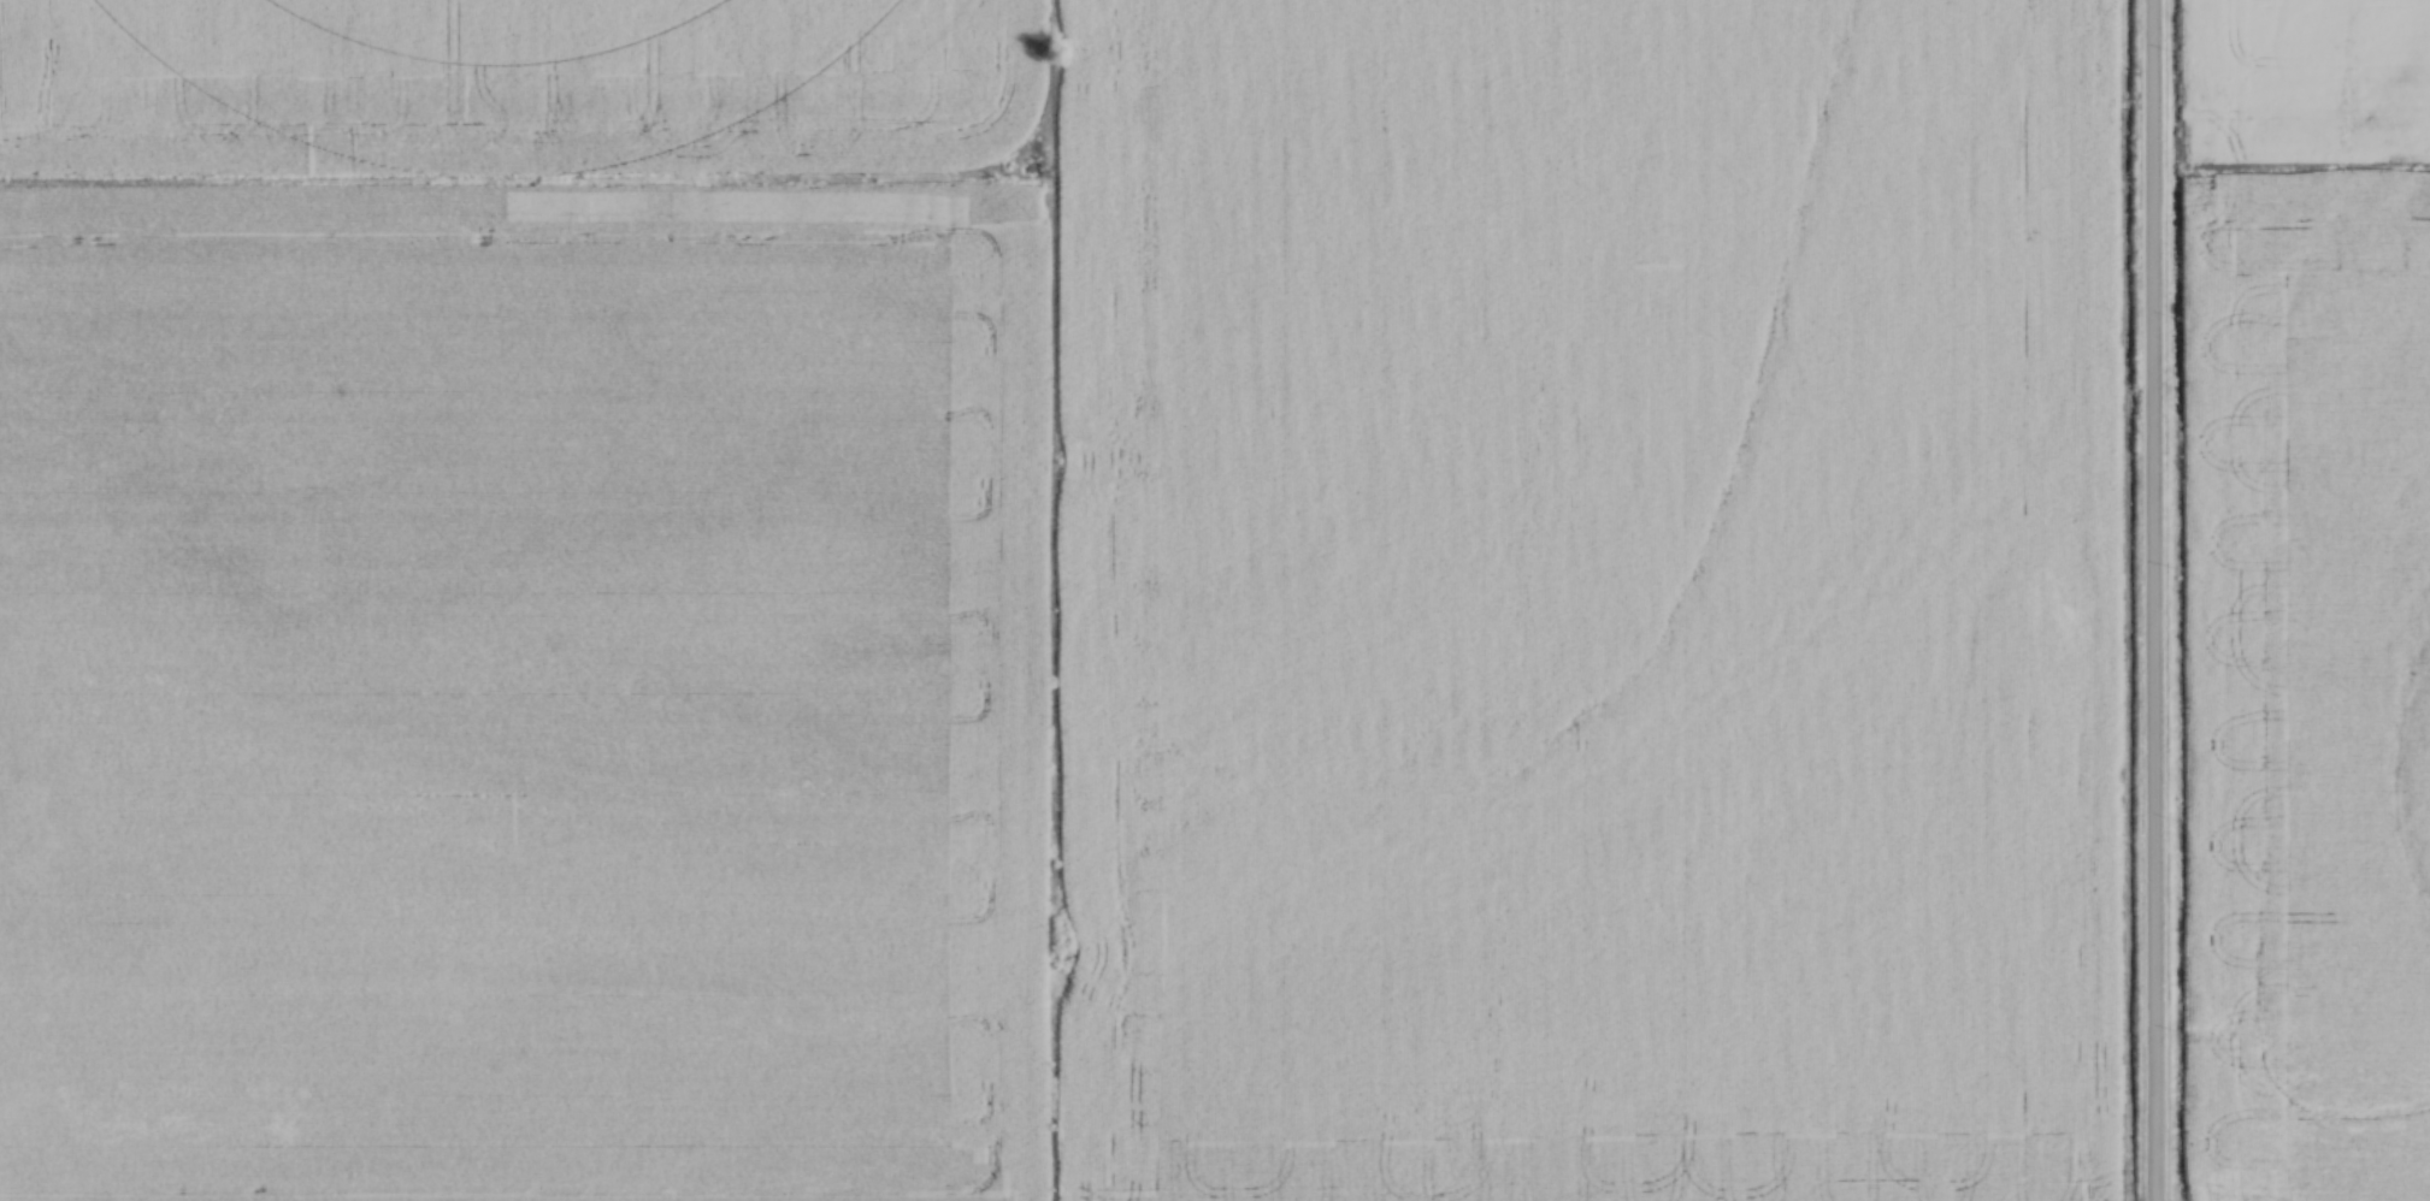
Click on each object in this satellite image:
road: (2152, 600)

